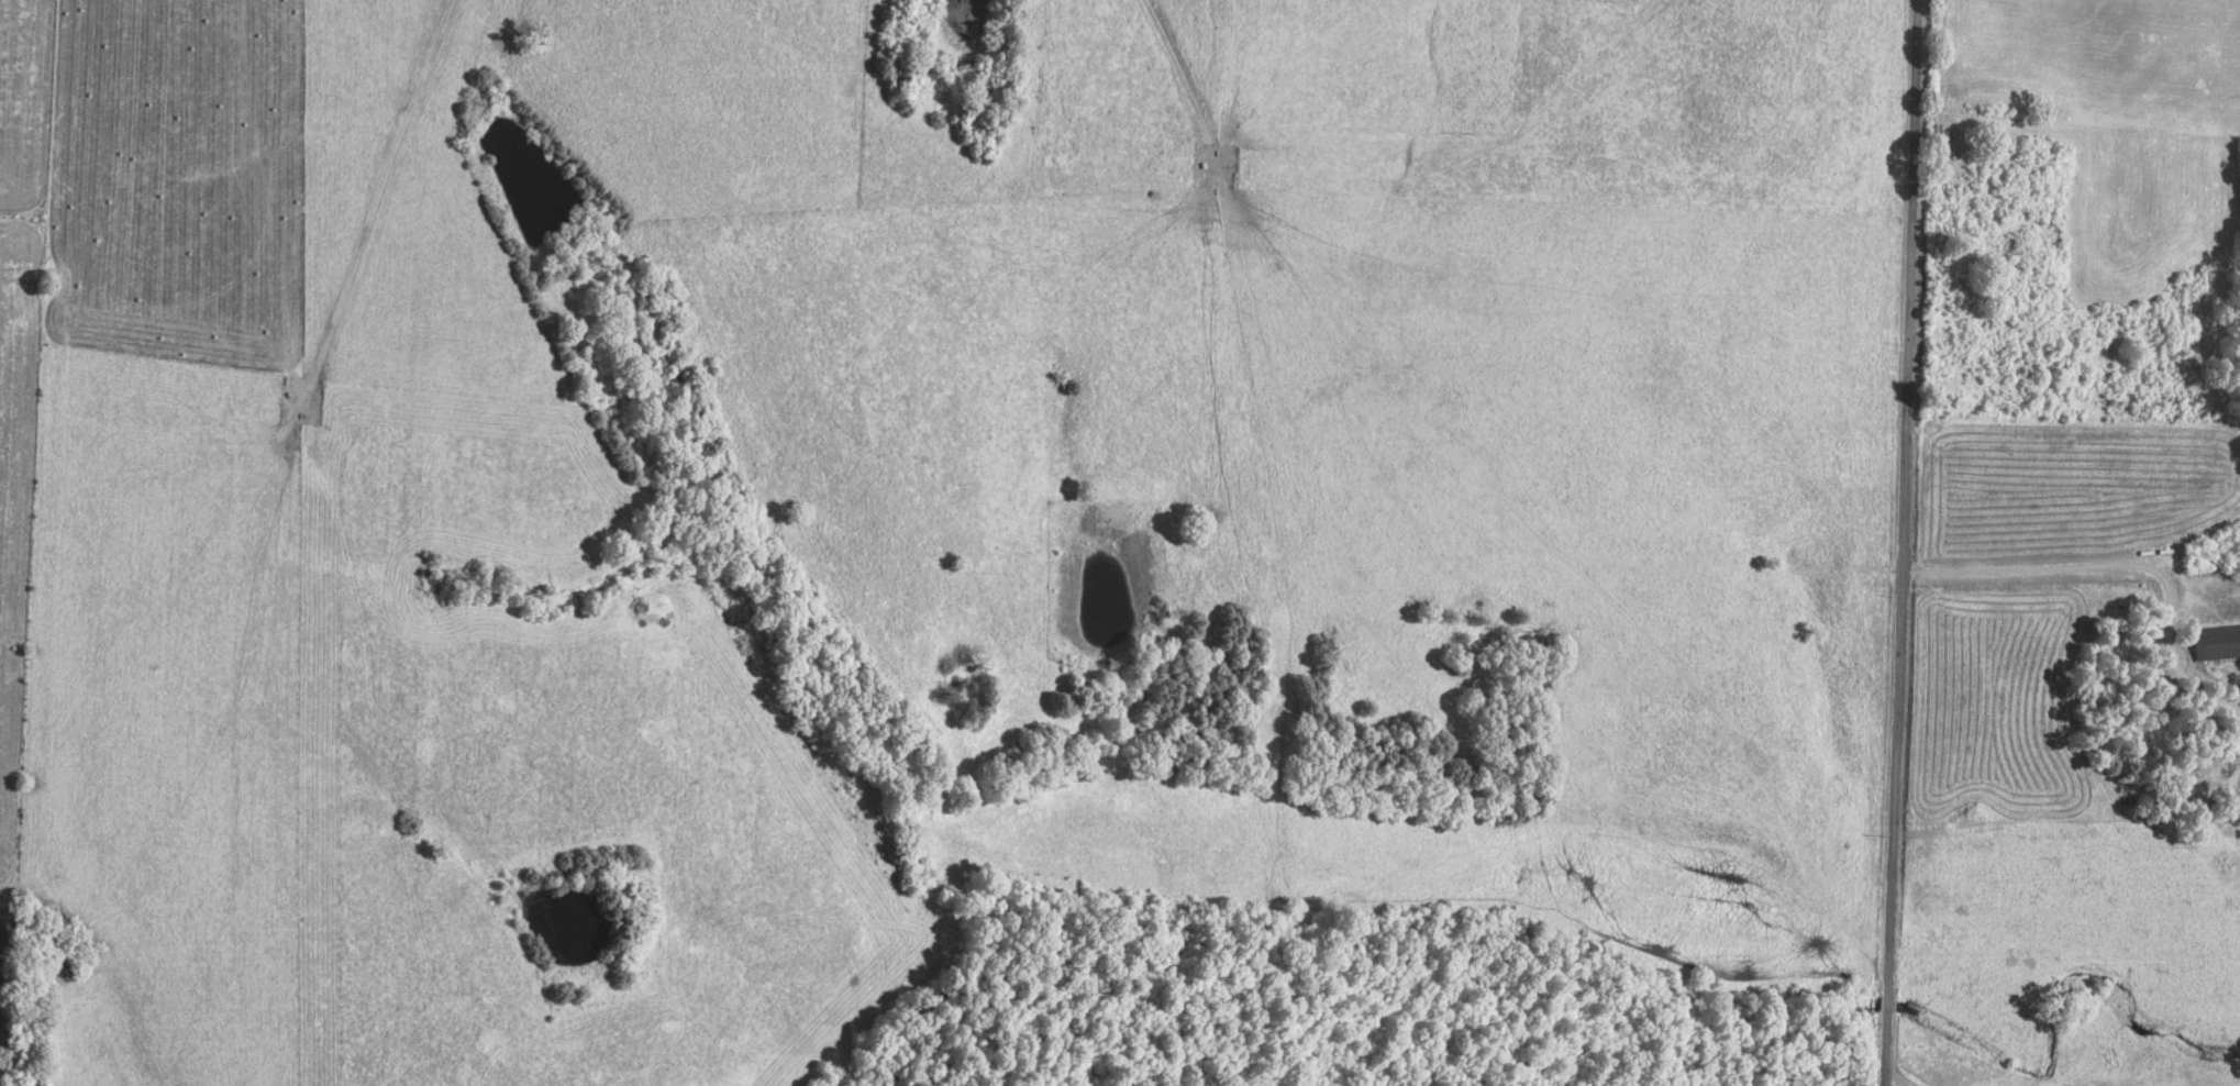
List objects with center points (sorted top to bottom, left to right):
road: (1901, 543)
building: (2218, 641)
road: (1897, 1081)

